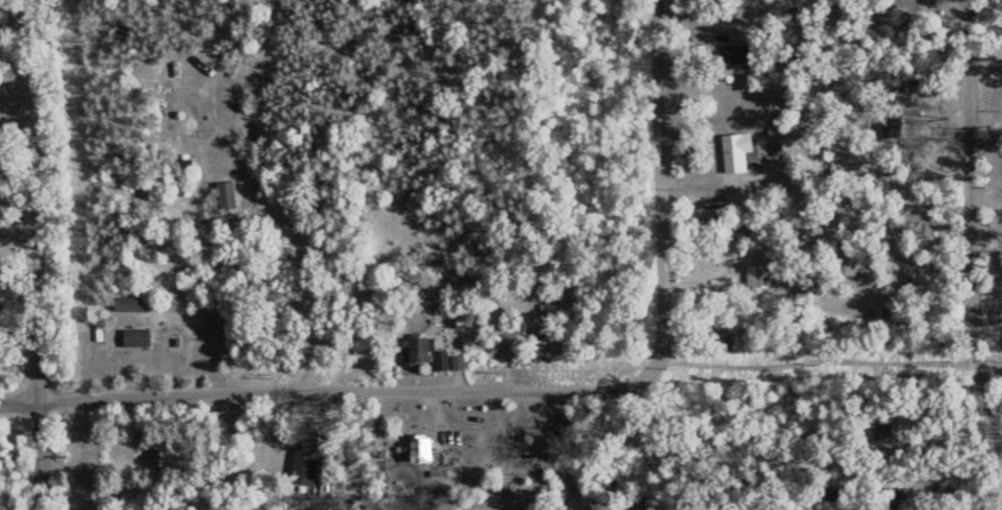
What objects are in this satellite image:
building: (736, 56)
building: (737, 153)
road: (978, 176)
road: (650, 190)
building: (227, 195)
road: (961, 247)
road: (41, 254)
building: (751, 276)
road: (289, 310)
road: (781, 338)
building: (420, 353)
road: (325, 387)

